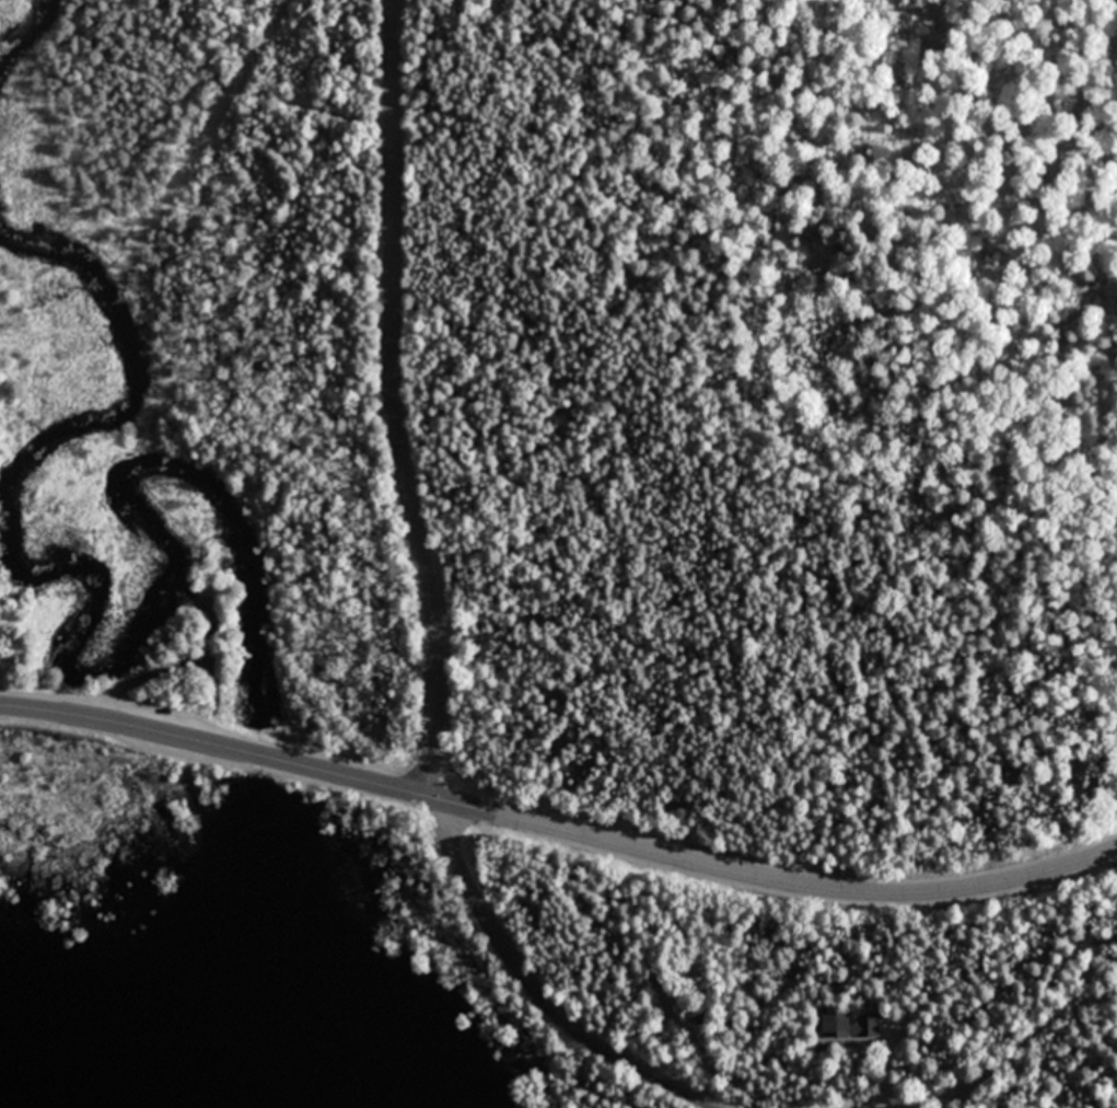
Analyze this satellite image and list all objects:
river: (34, 42)
road: (394, 401)
river: (68, 667)
parking lot: (161, 729)
river: (258, 753)
road: (558, 828)
river: (243, 954)
road: (538, 992)
building: (849, 1024)
road: (1001, 1063)

